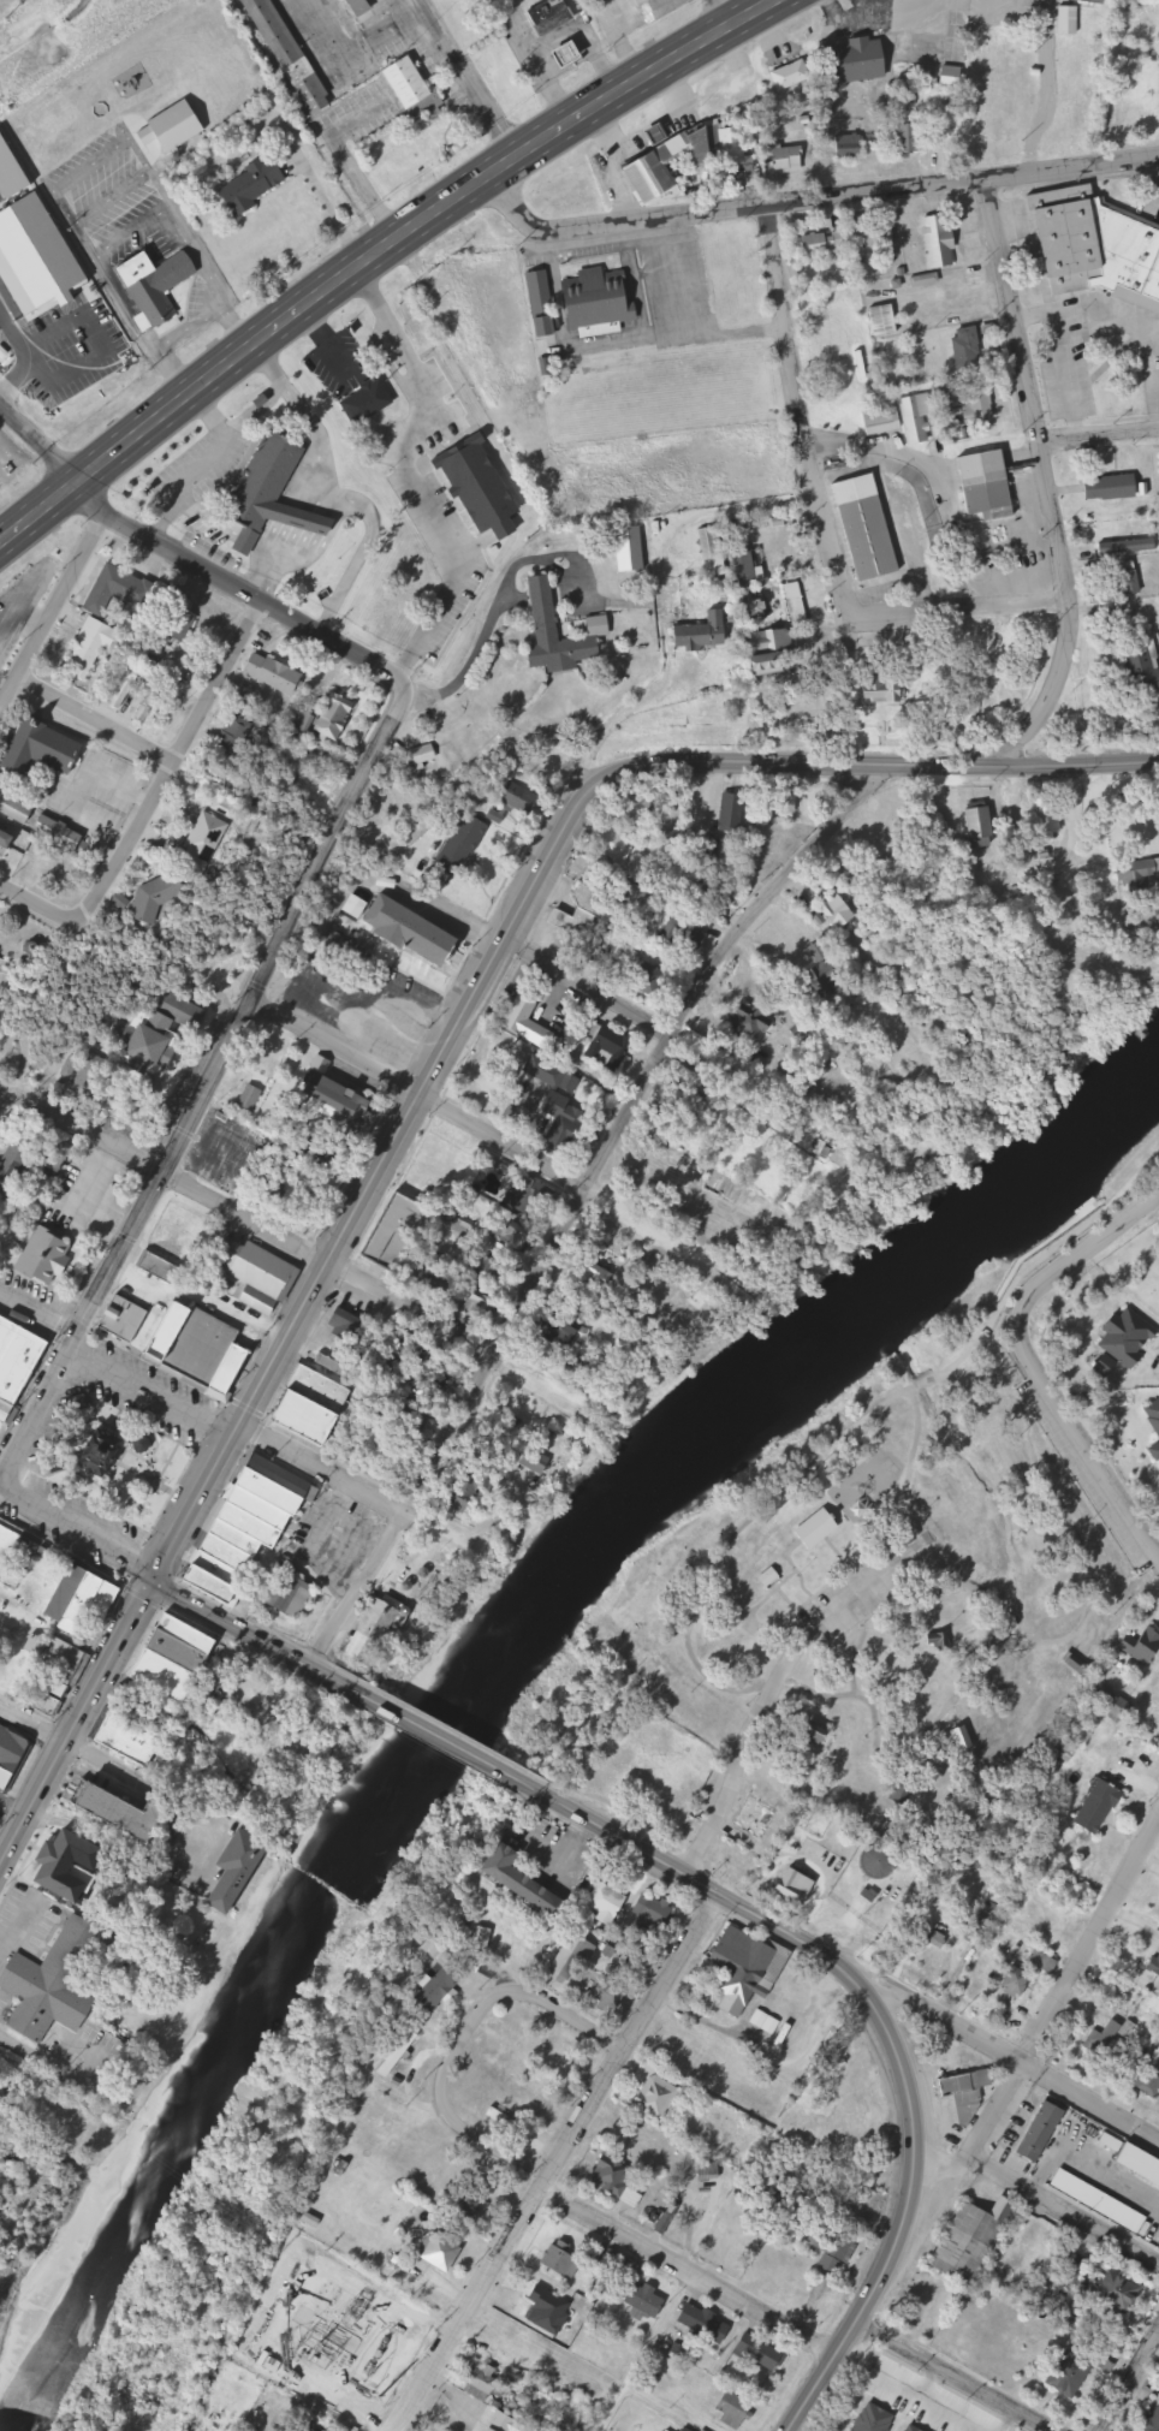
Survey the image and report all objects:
building: (1083, 1)
building: (364, 6)
building: (661, 7)
road: (721, 13)
building: (555, 17)
building: (1059, 19)
building: (573, 54)
building: (293, 55)
building: (866, 59)
building: (938, 73)
building: (794, 75)
road: (470, 79)
building: (412, 81)
building: (911, 138)
building: (159, 144)
building: (851, 148)
building: (789, 159)
building: (654, 162)
road: (1155, 178)
building: (257, 184)
road: (813, 198)
building: (878, 237)
building: (943, 240)
building: (826, 244)
building: (1101, 248)
road: (375, 254)
road: (699, 275)
building: (927, 281)
building: (160, 289)
road: (637, 290)
building: (599, 299)
building: (543, 304)
building: (886, 321)
road: (667, 335)
building: (828, 341)
road: (600, 343)
road: (1058, 345)
building: (970, 349)
road: (1147, 392)
building: (976, 402)
building: (370, 403)
building: (919, 420)
building: (884, 422)
road: (1095, 428)
road: (35, 453)
road: (411, 475)
building: (989, 485)
road: (1044, 485)
building: (1116, 488)
building: (486, 491)
building: (275, 493)
road: (82, 495)
road: (819, 517)
building: (872, 528)
building: (1130, 547)
building: (715, 549)
building: (748, 566)
building: (1133, 578)
building: (120, 589)
road: (249, 589)
road: (48, 608)
building: (563, 632)
building: (708, 635)
building: (99, 642)
building: (780, 649)
building: (1145, 662)
building: (279, 673)
road: (221, 682)
building: (892, 686)
road: (55, 699)
building: (334, 720)
road: (135, 742)
building: (60, 750)
building: (433, 754)
building: (17, 808)
building: (985, 824)
building: (216, 837)
building: (8, 838)
road: (131, 846)
building: (456, 858)
building: (166, 899)
road: (42, 903)
building: (583, 915)
building: (420, 931)
road: (513, 934)
road: (590, 986)
road: (47, 1001)
building: (160, 1040)
building: (606, 1045)
road: (210, 1081)
road: (5, 1084)
building: (693, 1095)
road: (420, 1096)
building: (345, 1104)
building: (564, 1104)
building: (19, 1161)
building: (533, 1195)
road: (583, 1206)
road: (251, 1222)
building: (399, 1232)
park: (6, 1237)
building: (48, 1256)
road: (1036, 1261)
building: (165, 1270)
building: (258, 1274)
building: (183, 1342)
building: (18, 1365)
road: (1032, 1365)
road: (203, 1407)
building: (1155, 1417)
building: (106, 1454)
building: (540, 1461)
parking lot: (1093, 1470)
building: (254, 1528)
building: (821, 1528)
road: (75, 1537)
road: (736, 1537)
building: (8, 1547)
building: (773, 1575)
building: (291, 1594)
building: (83, 1598)
park: (884, 1603)
building: (378, 1631)
road: (250, 1634)
building: (944, 1642)
road: (1056, 1646)
building: (1141, 1646)
road: (856, 1657)
building: (179, 1660)
road: (787, 1662)
building: (59, 1674)
road: (73, 1720)
road: (32, 1722)
building: (820, 1735)
building: (136, 1741)
building: (962, 1742)
road: (458, 1747)
building: (13, 1758)
road: (880, 1766)
road: (736, 1777)
building: (613, 1779)
building: (904, 1791)
building: (708, 1795)
building: (1084, 1808)
building: (131, 1813)
building: (882, 1862)
building: (73, 1865)
road: (701, 1877)
building: (522, 1879)
building: (797, 1889)
building: (608, 1901)
building: (655, 1913)
building: (572, 1960)
building: (1036, 1960)
building: (1151, 1962)
building: (756, 1979)
building: (1006, 1981)
building: (59, 1983)
building: (442, 1984)
road: (1060, 1989)
building: (610, 1998)
road: (469, 2032)
building: (1100, 2039)
road: (997, 2050)
building: (400, 2053)
road: (32, 2055)
building: (969, 2094)
building: (659, 2096)
building: (507, 2121)
building: (1044, 2129)
road: (555, 2159)
building: (1141, 2160)
building: (629, 2193)
road: (911, 2198)
road: (1039, 2200)
building: (1101, 2201)
building: (975, 2240)
building: (834, 2251)
building: (445, 2252)
building: (564, 2263)
road: (688, 2272)
building: (1121, 2293)
building: (637, 2295)
road: (642, 2352)
road: (1153, 2353)
building: (1070, 2373)
road: (953, 2377)
building: (487, 2387)
road: (1141, 2387)
building: (735, 2409)
building: (503, 2423)
building: (1154, 2423)

